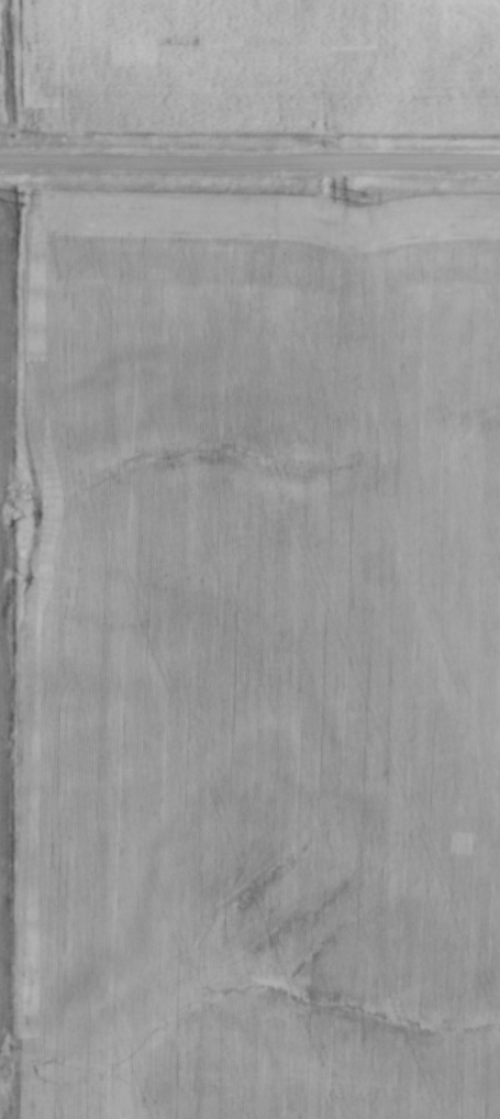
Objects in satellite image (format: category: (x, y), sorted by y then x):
road: (249, 168)
power tower: (362, 198)
power tower: (24, 201)

